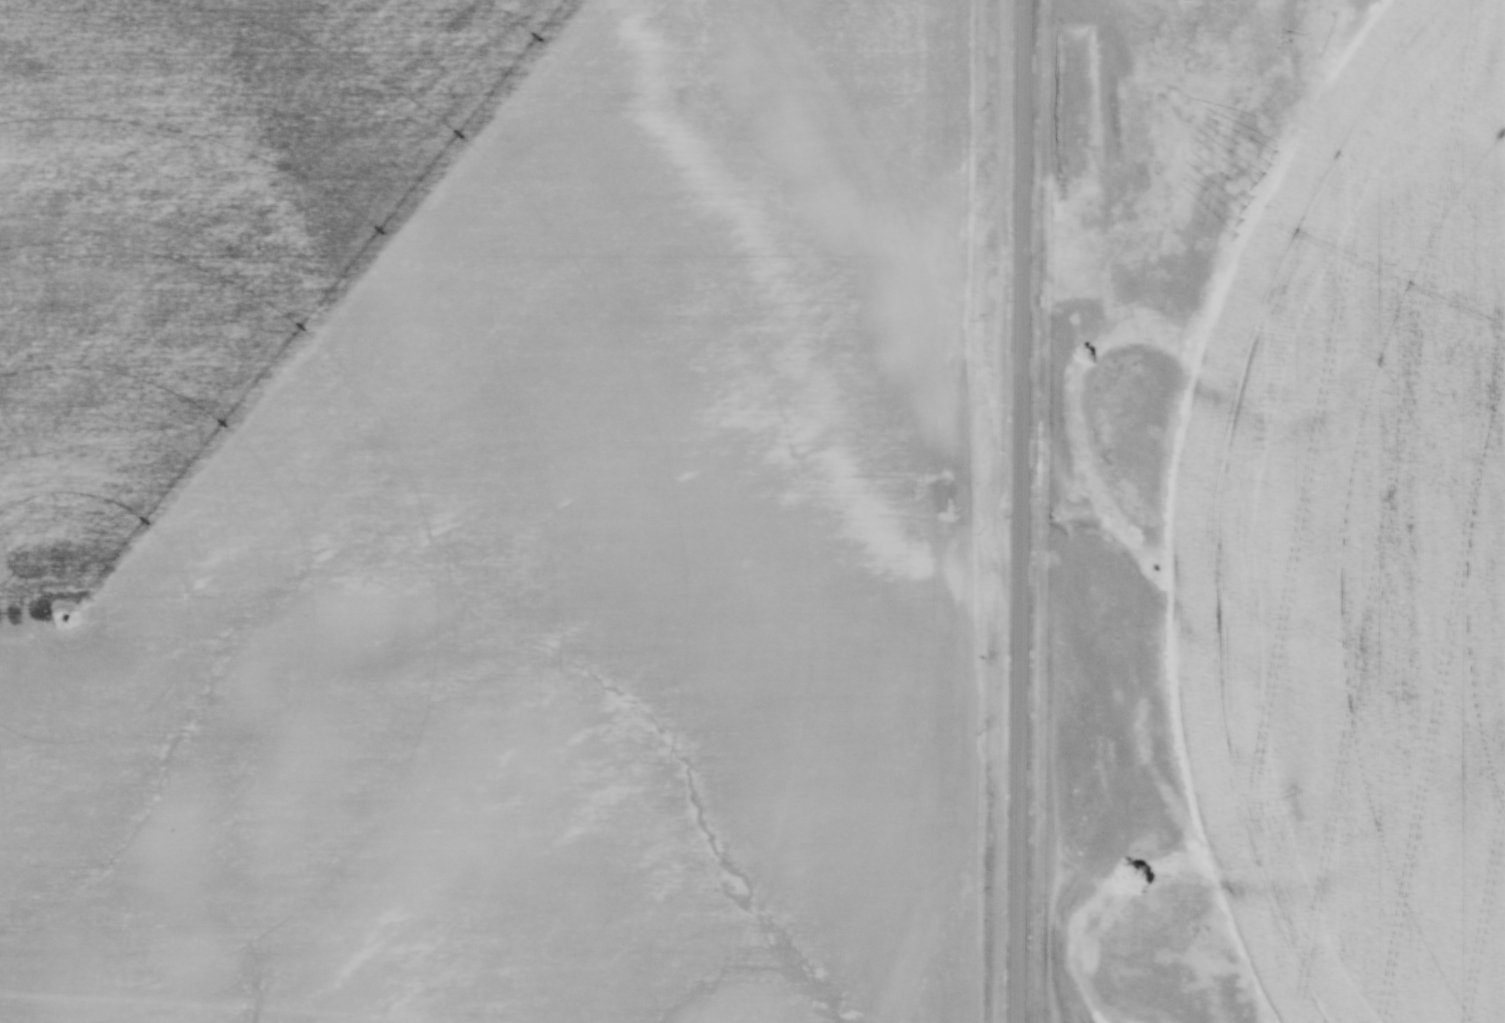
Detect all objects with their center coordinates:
road: (1017, 511)

